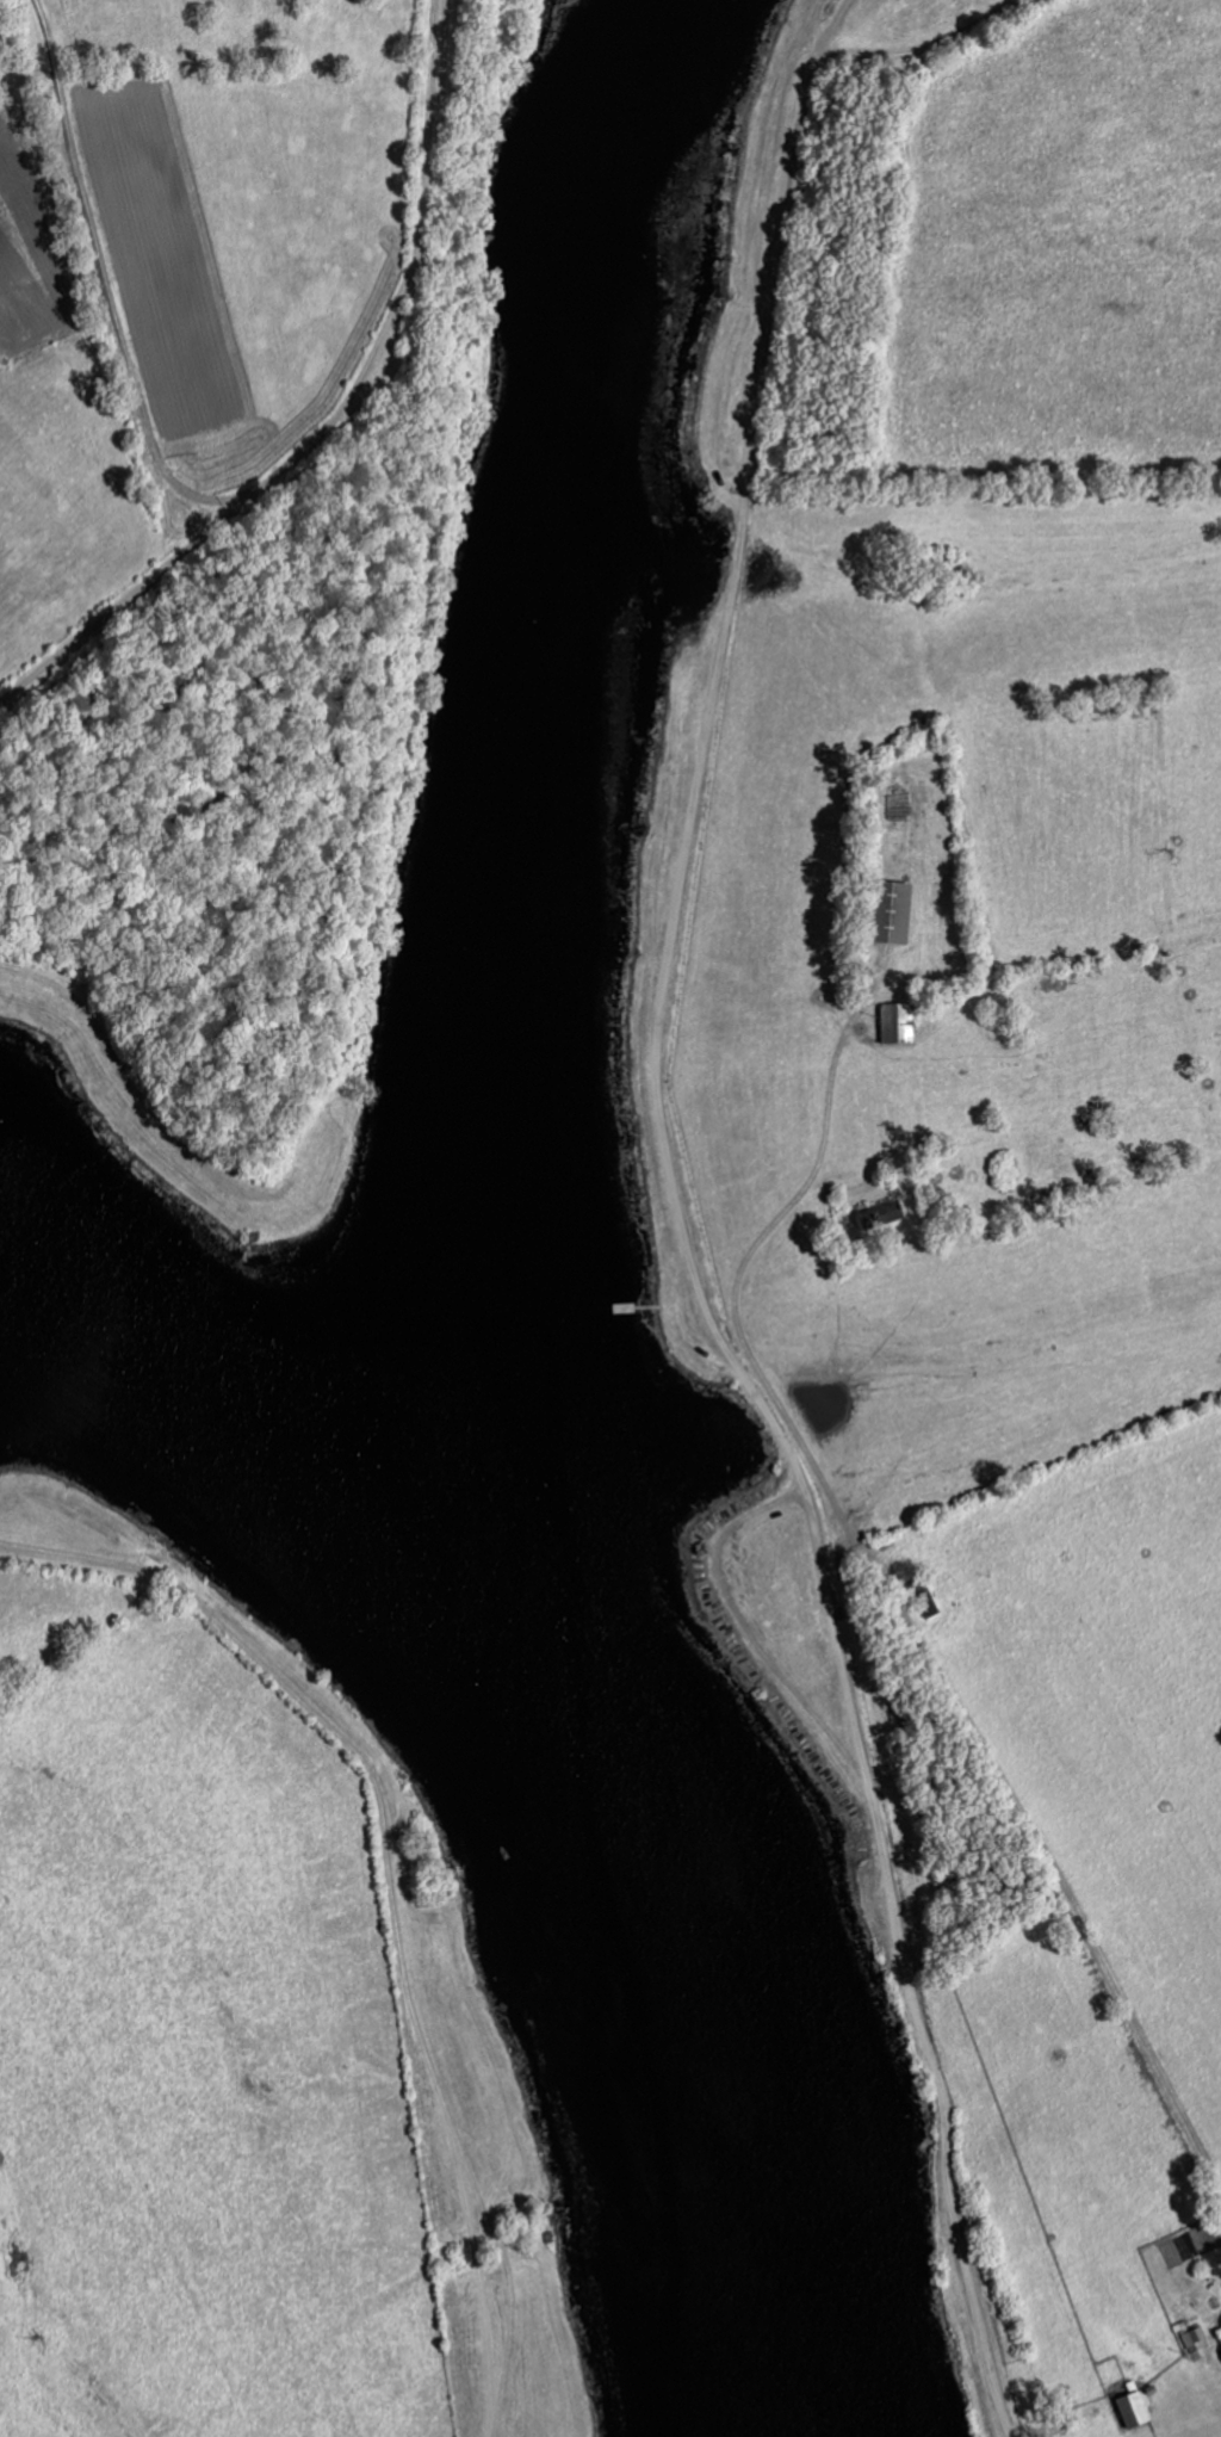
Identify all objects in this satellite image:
building: (885, 913)
building: (892, 1025)
building: (875, 1216)
road: (935, 1672)
road: (953, 2226)
building: (1192, 2338)
building: (1220, 2355)
building: (1129, 2411)

